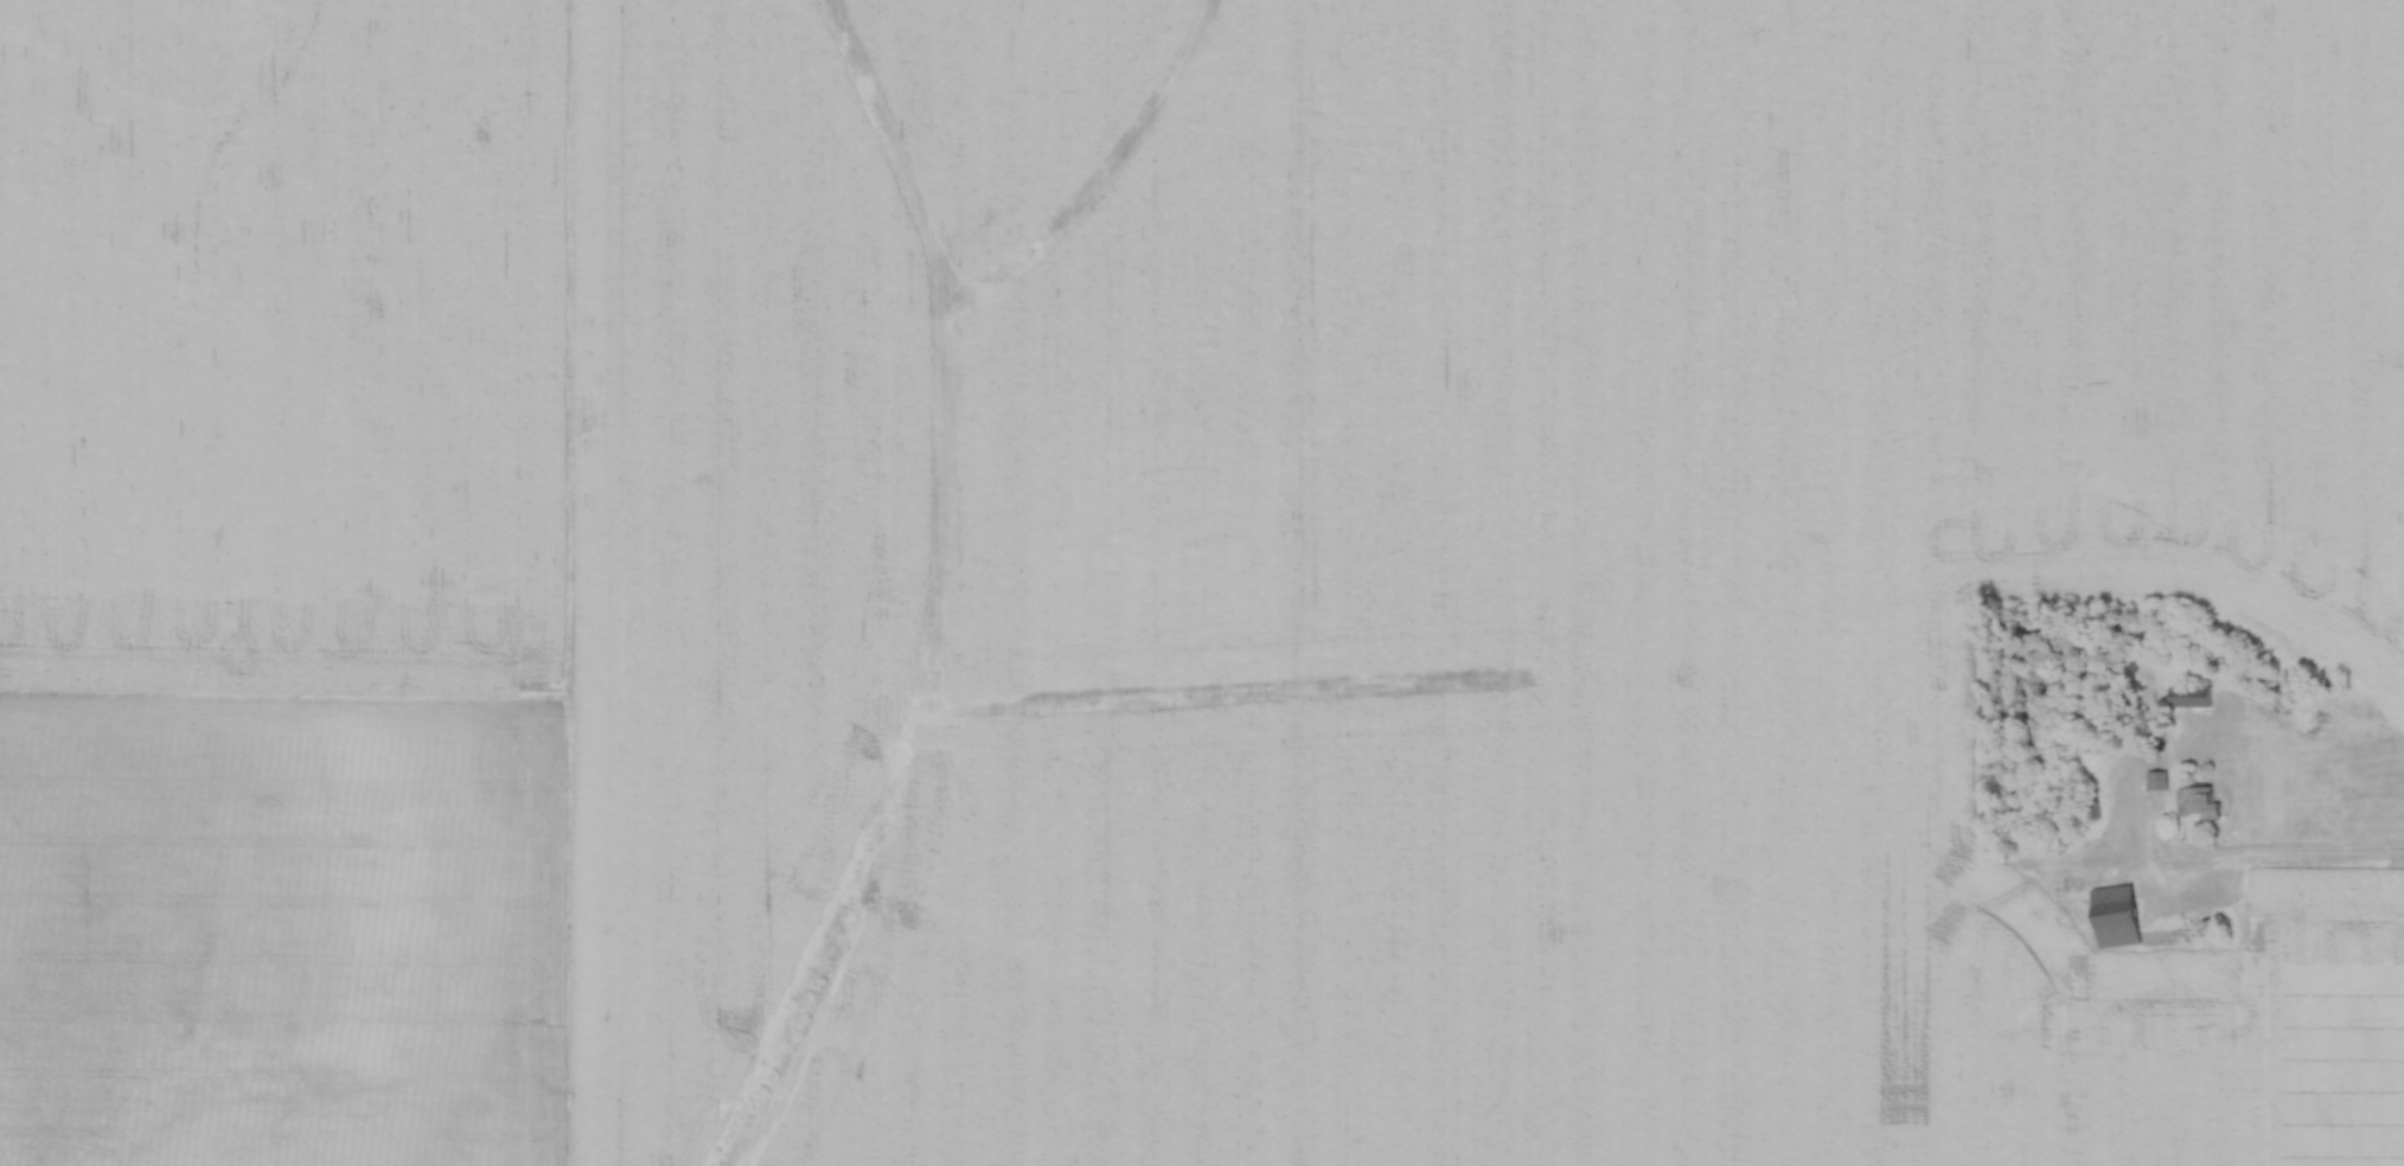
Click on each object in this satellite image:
building: (2197, 697)
building: (2157, 782)
building: (2201, 803)
road: (2294, 857)
building: (2120, 917)

